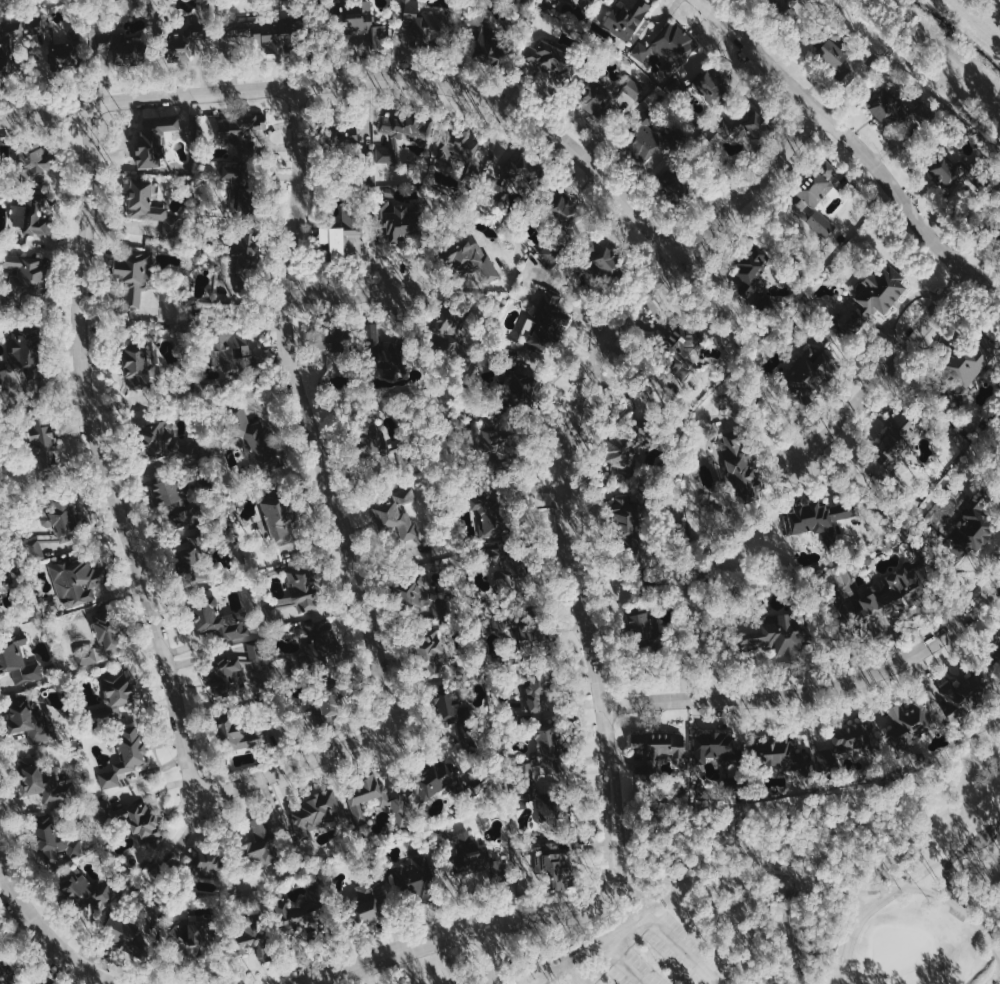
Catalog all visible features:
building: (556, 1)
building: (571, 1)
building: (778, 5)
building: (623, 18)
building: (422, 23)
building: (360, 24)
building: (258, 35)
building: (46, 39)
building: (483, 39)
building: (184, 43)
building: (668, 46)
building: (117, 50)
building: (833, 51)
building: (3, 69)
building: (853, 70)
road: (368, 79)
building: (711, 85)
building: (634, 88)
building: (599, 96)
building: (882, 102)
building: (741, 125)
building: (242, 130)
building: (399, 134)
building: (346, 135)
building: (153, 137)
building: (644, 140)
building: (462, 143)
road: (853, 146)
building: (33, 161)
building: (946, 169)
building: (238, 184)
building: (814, 187)
building: (151, 206)
building: (562, 206)
building: (396, 212)
building: (32, 213)
building: (821, 223)
building: (339, 232)
building: (246, 246)
building: (550, 252)
building: (602, 255)
building: (470, 261)
building: (751, 271)
building: (26, 275)
building: (133, 275)
building: (879, 292)
road: (342, 294)
road: (572, 303)
building: (546, 323)
building: (447, 332)
building: (332, 342)
building: (24, 348)
building: (379, 351)
building: (680, 351)
building: (232, 352)
building: (972, 359)
road: (886, 368)
building: (137, 370)
building: (811, 372)
building: (519, 379)
road: (307, 415)
road: (759, 430)
building: (251, 435)
building: (899, 435)
building: (494, 436)
building: (156, 437)
building: (42, 441)
building: (371, 442)
building: (628, 444)
road: (567, 451)
building: (739, 467)
building: (167, 494)
building: (396, 513)
building: (488, 514)
building: (817, 518)
building: (626, 522)
building: (280, 525)
building: (59, 526)
building: (973, 528)
building: (36, 551)
road: (133, 556)
building: (76, 579)
building: (414, 594)
building: (298, 595)
building: (889, 596)
building: (637, 609)
building: (0, 616)
building: (219, 621)
building: (641, 627)
building: (105, 634)
building: (773, 636)
building: (321, 639)
building: (997, 641)
building: (430, 654)
building: (86, 656)
building: (18, 660)
building: (236, 669)
building: (117, 689)
road: (822, 691)
building: (535, 692)
building: (966, 693)
building: (329, 704)
building: (447, 707)
building: (909, 721)
building: (30, 722)
building: (234, 737)
building: (845, 745)
building: (714, 746)
building: (661, 747)
building: (779, 753)
building: (125, 757)
building: (541, 757)
building: (433, 780)
building: (41, 781)
building: (394, 800)
building: (314, 813)
building: (556, 815)
building: (143, 822)
building: (56, 841)
building: (259, 845)
road: (956, 854)
building: (476, 859)
building: (206, 864)
building: (557, 871)
road: (721, 875)
park: (817, 887)
building: (85, 891)
road: (860, 891)
building: (296, 914)
road: (654, 924)
building: (793, 930)
building: (248, 933)
road: (467, 933)
building: (130, 934)
road: (43, 937)
building: (189, 937)
park: (896, 950)
road: (489, 956)
road: (966, 956)
road: (631, 968)
building: (5, 974)

